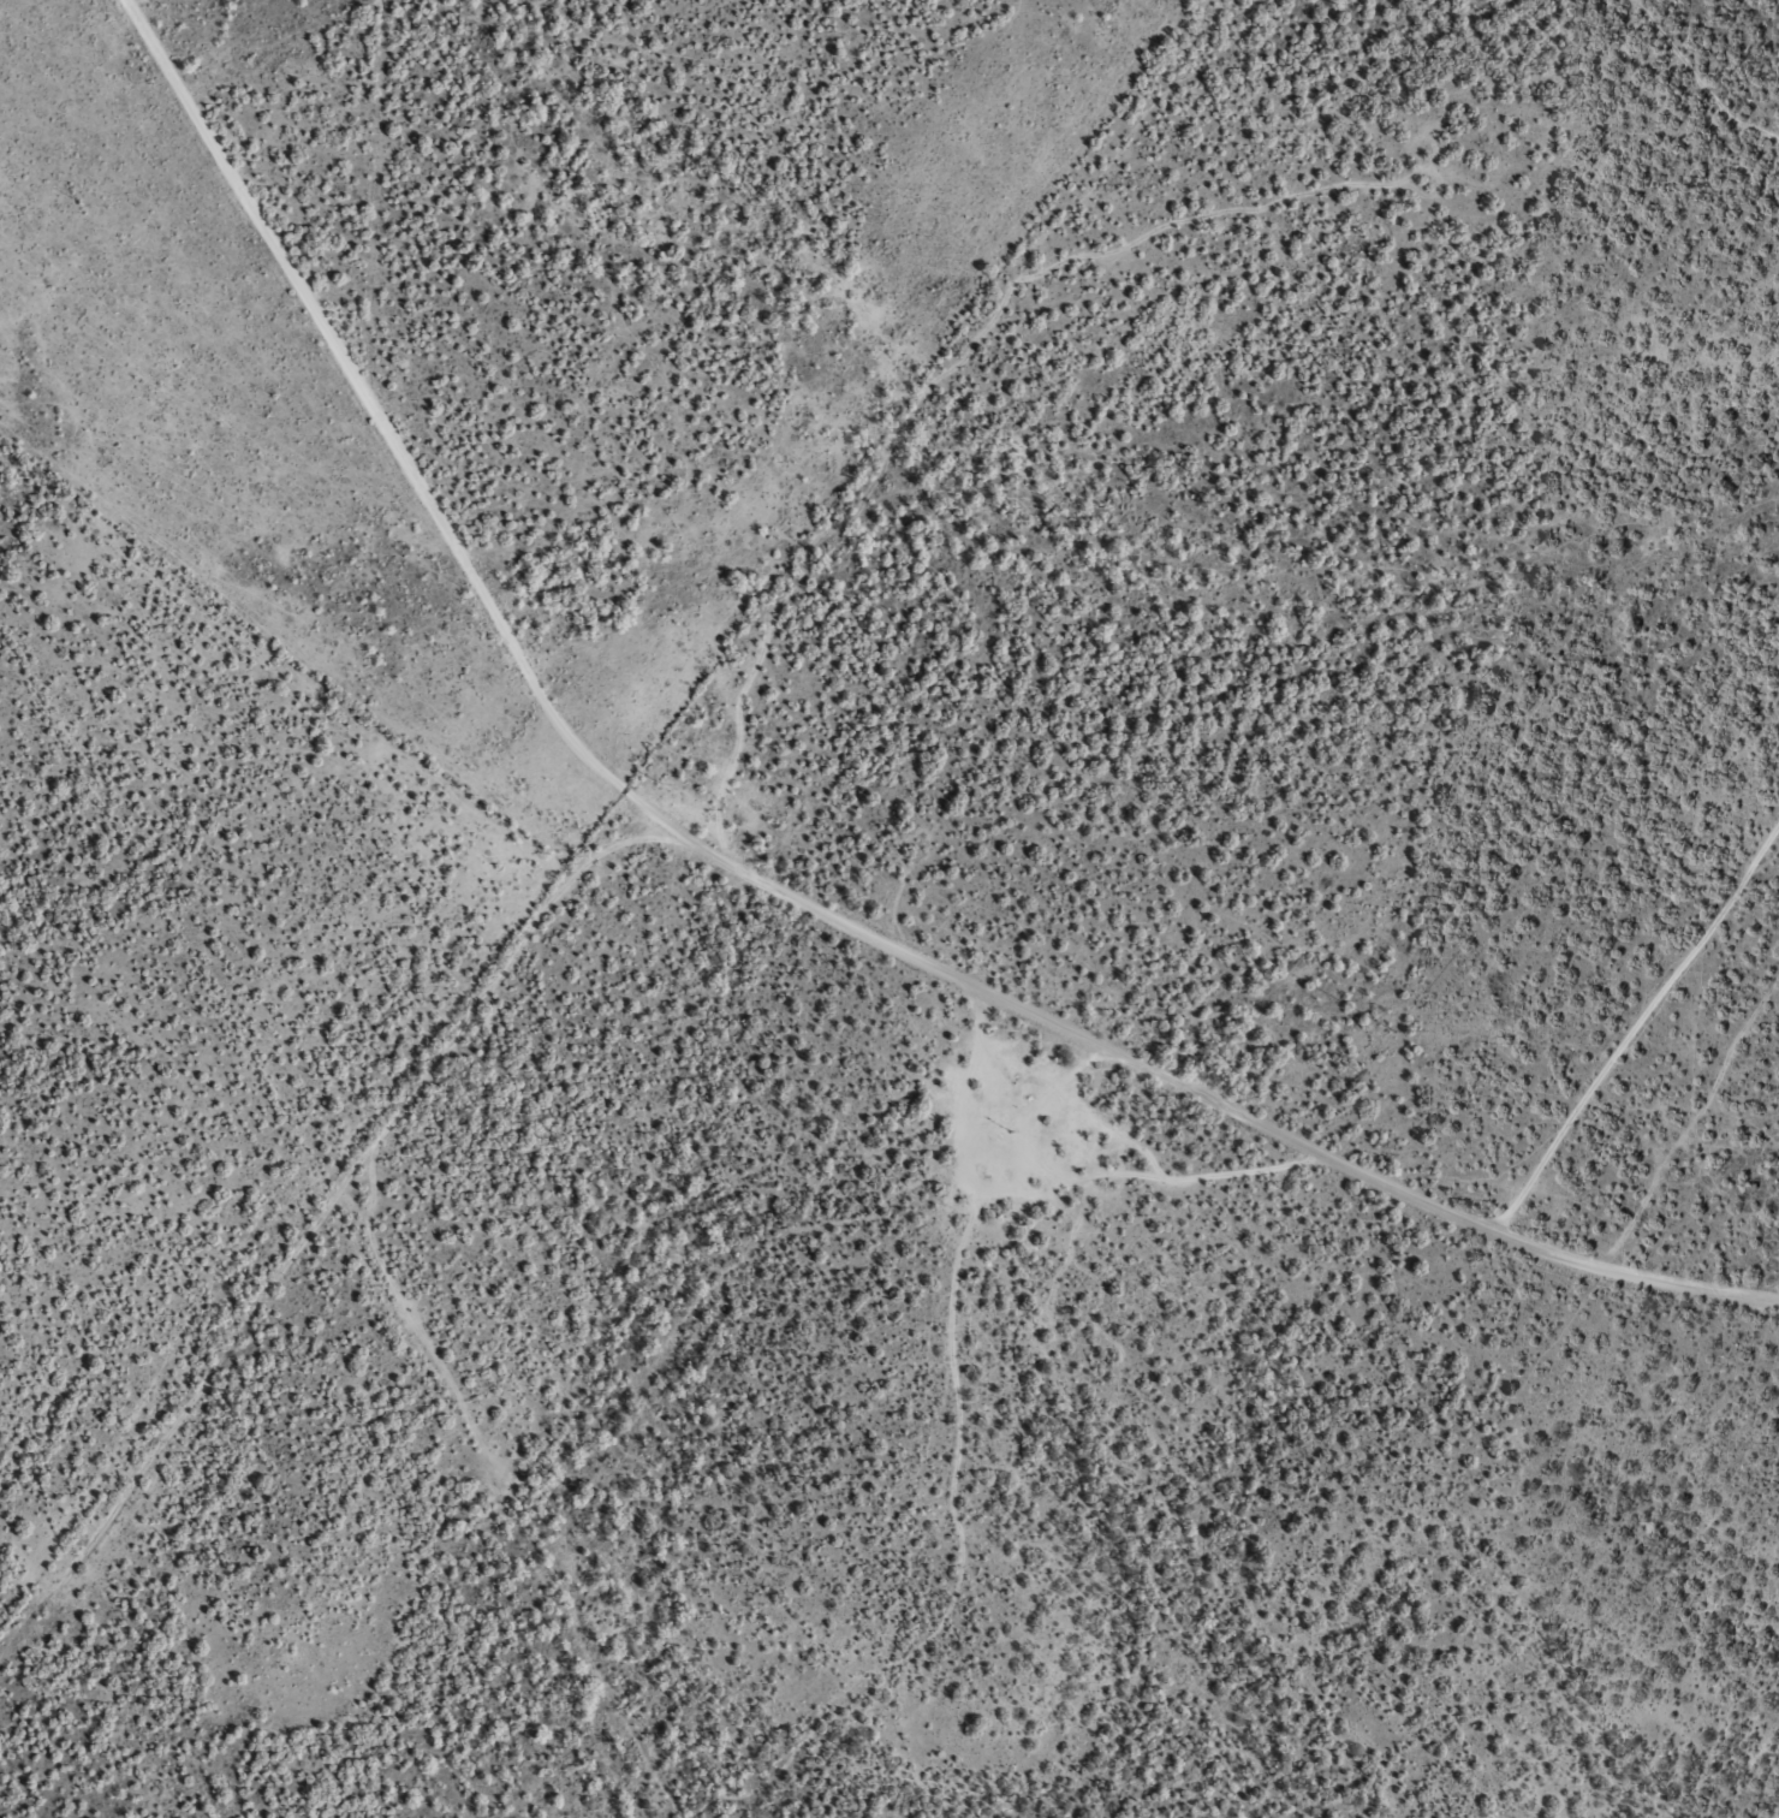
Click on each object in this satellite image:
road: (760, 910)
road: (1655, 1124)
road: (338, 1303)

